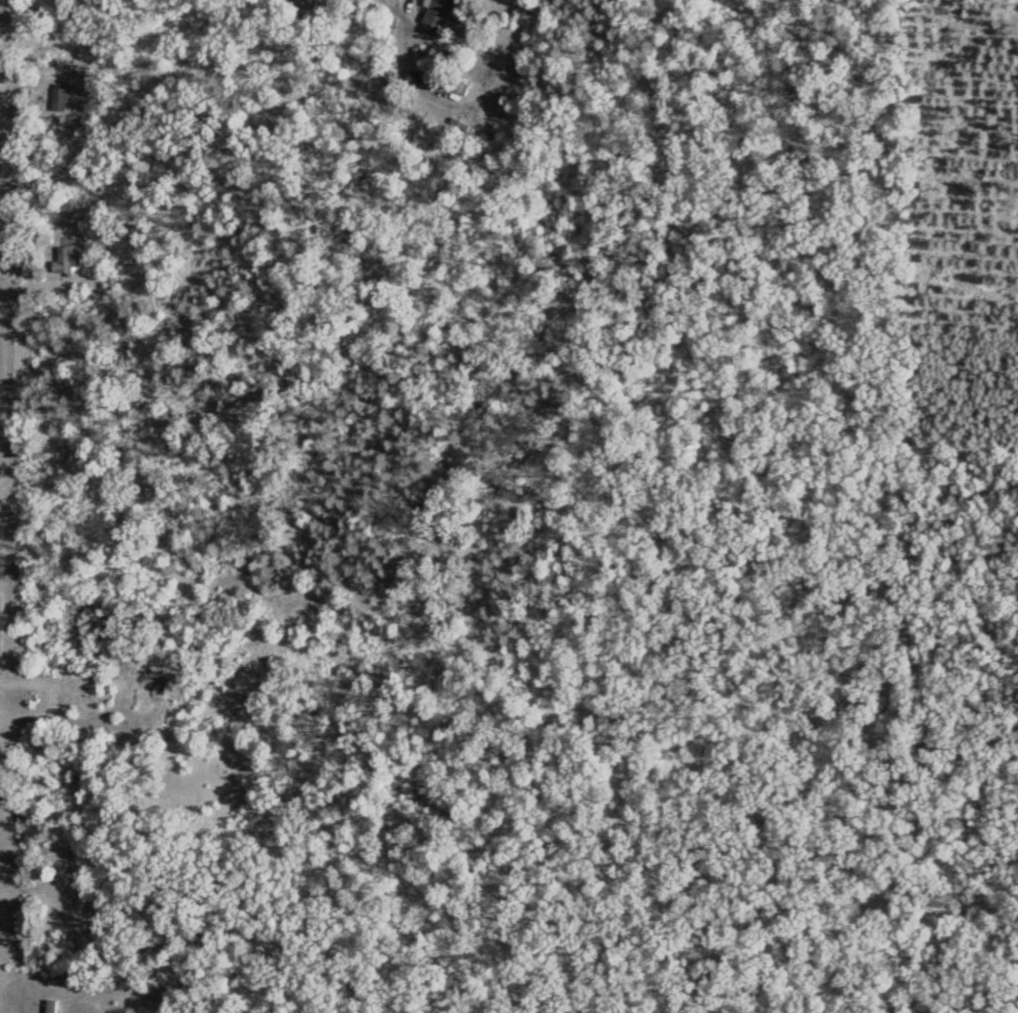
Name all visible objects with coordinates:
building: (438, 16)
building: (74, 257)
building: (53, 1006)

